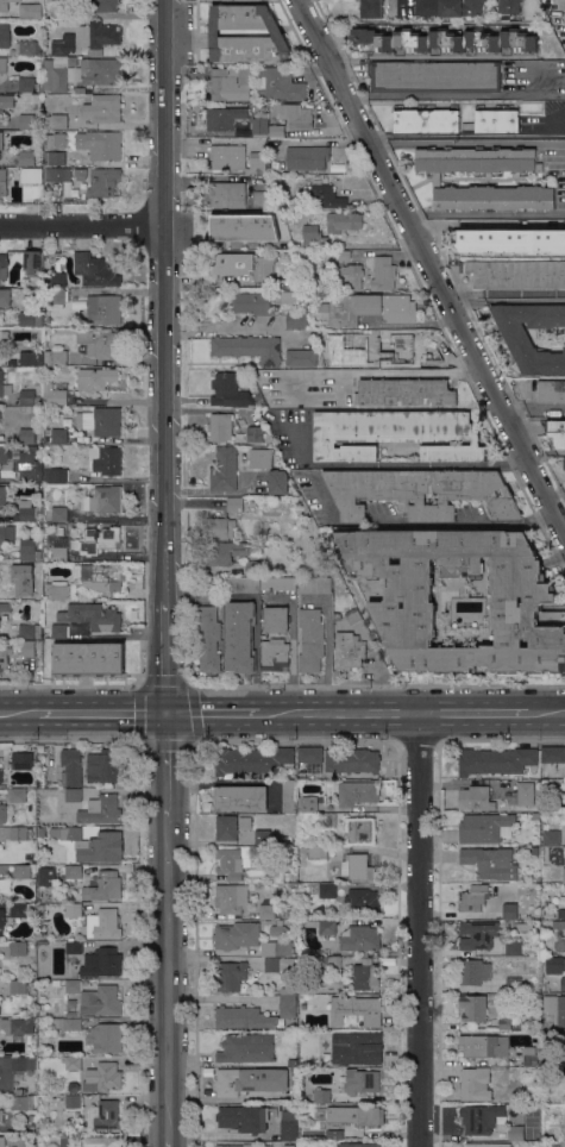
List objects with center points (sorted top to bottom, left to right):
building: (48, 1)
building: (4, 5)
building: (103, 5)
building: (509, 6)
building: (448, 7)
building: (371, 8)
building: (30, 10)
building: (58, 11)
building: (4, 35)
building: (246, 35)
building: (98, 37)
building: (445, 40)
building: (30, 48)
building: (58, 48)
building: (2, 64)
building: (100, 71)
building: (434, 76)
building: (55, 77)
building: (230, 83)
building: (280, 83)
building: (27, 84)
road: (432, 95)
building: (6, 101)
building: (102, 108)
building: (224, 118)
building: (291, 119)
building: (426, 120)
building: (496, 120)
building: (26, 121)
building: (56, 121)
building: (259, 124)
building: (1, 140)
building: (56, 140)
road: (476, 142)
building: (100, 144)
road: (379, 144)
building: (26, 158)
building: (55, 158)
building: (236, 158)
building: (307, 158)
building: (80, 173)
building: (57, 174)
building: (31, 175)
building: (435, 180)
building: (2, 182)
building: (103, 182)
building: (227, 194)
building: (324, 196)
building: (259, 199)
road: (494, 214)
road: (414, 217)
building: (343, 221)
road: (488, 222)
road: (82, 227)
building: (228, 230)
building: (313, 237)
building: (510, 242)
building: (339, 255)
building: (33, 263)
building: (243, 265)
road: (431, 267)
building: (2, 269)
building: (94, 270)
building: (383, 272)
building: (516, 274)
building: (352, 276)
building: (55, 280)
building: (55, 296)
building: (289, 296)
building: (5, 297)
road: (525, 300)
building: (251, 302)
road: (469, 305)
building: (103, 308)
building: (368, 308)
building: (26, 319)
building: (296, 319)
road: (224, 330)
building: (516, 337)
building: (364, 340)
building: (100, 343)
building: (406, 344)
building: (249, 347)
building: (58, 357)
road: (168, 357)
building: (301, 357)
building: (30, 358)
building: (332, 359)
road: (384, 372)
building: (96, 378)
building: (4, 386)
building: (404, 391)
building: (551, 391)
building: (233, 393)
building: (54, 395)
building: (26, 396)
road: (534, 408)
building: (101, 421)
building: (220, 427)
building: (555, 431)
building: (255, 434)
building: (394, 434)
building: (26, 435)
building: (59, 435)
building: (26, 458)
building: (260, 458)
building: (105, 460)
building: (564, 463)
building: (6, 464)
road: (397, 464)
building: (224, 470)
building: (30, 475)
building: (55, 475)
building: (277, 482)
road: (554, 490)
building: (421, 491)
building: (1, 495)
building: (103, 500)
building: (236, 503)
building: (29, 510)
building: (58, 514)
road: (422, 522)
building: (219, 527)
building: (59, 531)
road: (564, 531)
building: (6, 535)
building: (96, 540)
building: (59, 549)
building: (29, 550)
building: (226, 552)
building: (252, 568)
building: (100, 576)
building: (21, 579)
building: (278, 583)
building: (241, 585)
building: (315, 585)
building: (208, 589)
building: (56, 590)
building: (30, 593)
building: (402, 603)
building: (61, 604)
building: (5, 610)
building: (352, 615)
building: (92, 616)
building: (276, 619)
building: (30, 631)
building: (58, 631)
building: (239, 637)
building: (208, 638)
building: (310, 640)
building: (30, 647)
building: (347, 651)
building: (4, 654)
building: (275, 654)
building: (88, 659)
road: (327, 660)
road: (19, 715)
road: (103, 715)
traffic signals: (170, 715)
road: (214, 715)
road: (341, 715)
road: (476, 715)
road: (546, 715)
building: (39, 748)
building: (309, 754)
building: (553, 754)
building: (351, 759)
building: (252, 760)
building: (17, 761)
building: (495, 761)
building: (103, 766)
building: (70, 767)
road: (169, 769)
building: (301, 775)
building: (73, 794)
building: (526, 794)
building: (19, 795)
building: (356, 795)
building: (289, 796)
building: (239, 797)
building: (475, 798)
building: (307, 804)
building: (544, 808)
building: (100, 810)
building: (2, 814)
building: (535, 816)
building: (327, 821)
building: (244, 823)
building: (225, 828)
building: (484, 828)
building: (360, 831)
building: (19, 833)
building: (54, 833)
building: (71, 833)
building: (262, 836)
building: (551, 838)
building: (99, 847)
building: (534, 851)
building: (544, 851)
building: (316, 853)
building: (232, 861)
building: (490, 861)
building: (357, 867)
building: (21, 871)
building: (74, 871)
building: (563, 875)
building: (49, 876)
building: (5, 885)
building: (103, 886)
building: (327, 890)
building: (230, 898)
building: (473, 898)
building: (362, 901)
building: (19, 909)
building: (73, 909)
building: (266, 909)
building: (509, 911)
building: (285, 913)
building: (1, 920)
building: (102, 925)
building: (320, 926)
building: (559, 927)
building: (277, 930)
road: (421, 930)
building: (478, 934)
building: (237, 935)
building: (359, 939)
building: (73, 947)
building: (18, 948)
building: (276, 948)
building: (514, 948)
building: (331, 961)
building: (101, 963)
building: (278, 964)
building: (554, 965)
building: (473, 971)
building: (230, 976)
building: (365, 976)
road: (168, 978)
building: (56, 983)
building: (563, 984)
building: (73, 985)
building: (514, 985)
building: (18, 986)
building: (100, 1001)
building: (287, 1002)
building: (473, 1007)
building: (554, 1008)
building: (356, 1010)
building: (244, 1017)
building: (68, 1023)
building: (504, 1023)
building: (15, 1026)
building: (106, 1038)
building: (563, 1040)
building: (365, 1043)
building: (484, 1046)
building: (246, 1048)
building: (529, 1055)
building: (335, 1058)
building: (73, 1063)
building: (291, 1063)
building: (13, 1068)
building: (564, 1073)
building: (102, 1077)
building: (293, 1077)
building: (250, 1080)
building: (360, 1082)
building: (475, 1084)
building: (20, 1091)
building: (321, 1096)
building: (531, 1098)
building: (73, 1102)
building: (21, 1103)
building: (107, 1115)
building: (354, 1115)
building: (1, 1116)
building: (243, 1118)
building: (479, 1118)
building: (32, 1122)
building: (289, 1124)
building: (515, 1133)
building: (334, 1134)
building: (63, 1140)
road: (168, 1140)
building: (2, 1141)
building: (101, 1141)
building: (288, 1145)
building: (359, 1145)
building: (486, 1145)
building: (236, 1146)
building: (266, 1146)

